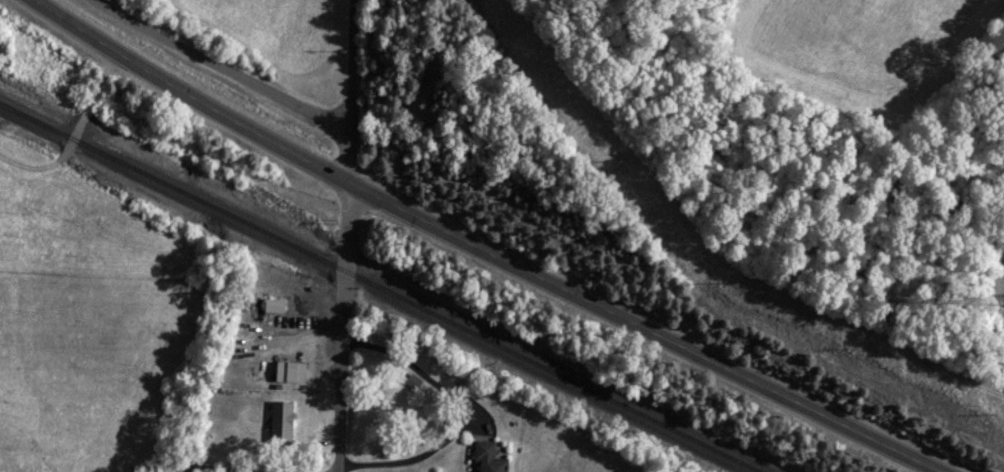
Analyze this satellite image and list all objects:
road: (219, 68)
road: (345, 235)
road: (483, 249)
railway: (374, 285)
building: (273, 306)
building: (290, 373)
building: (413, 383)
building: (281, 424)
building: (487, 458)
road: (162, 470)

